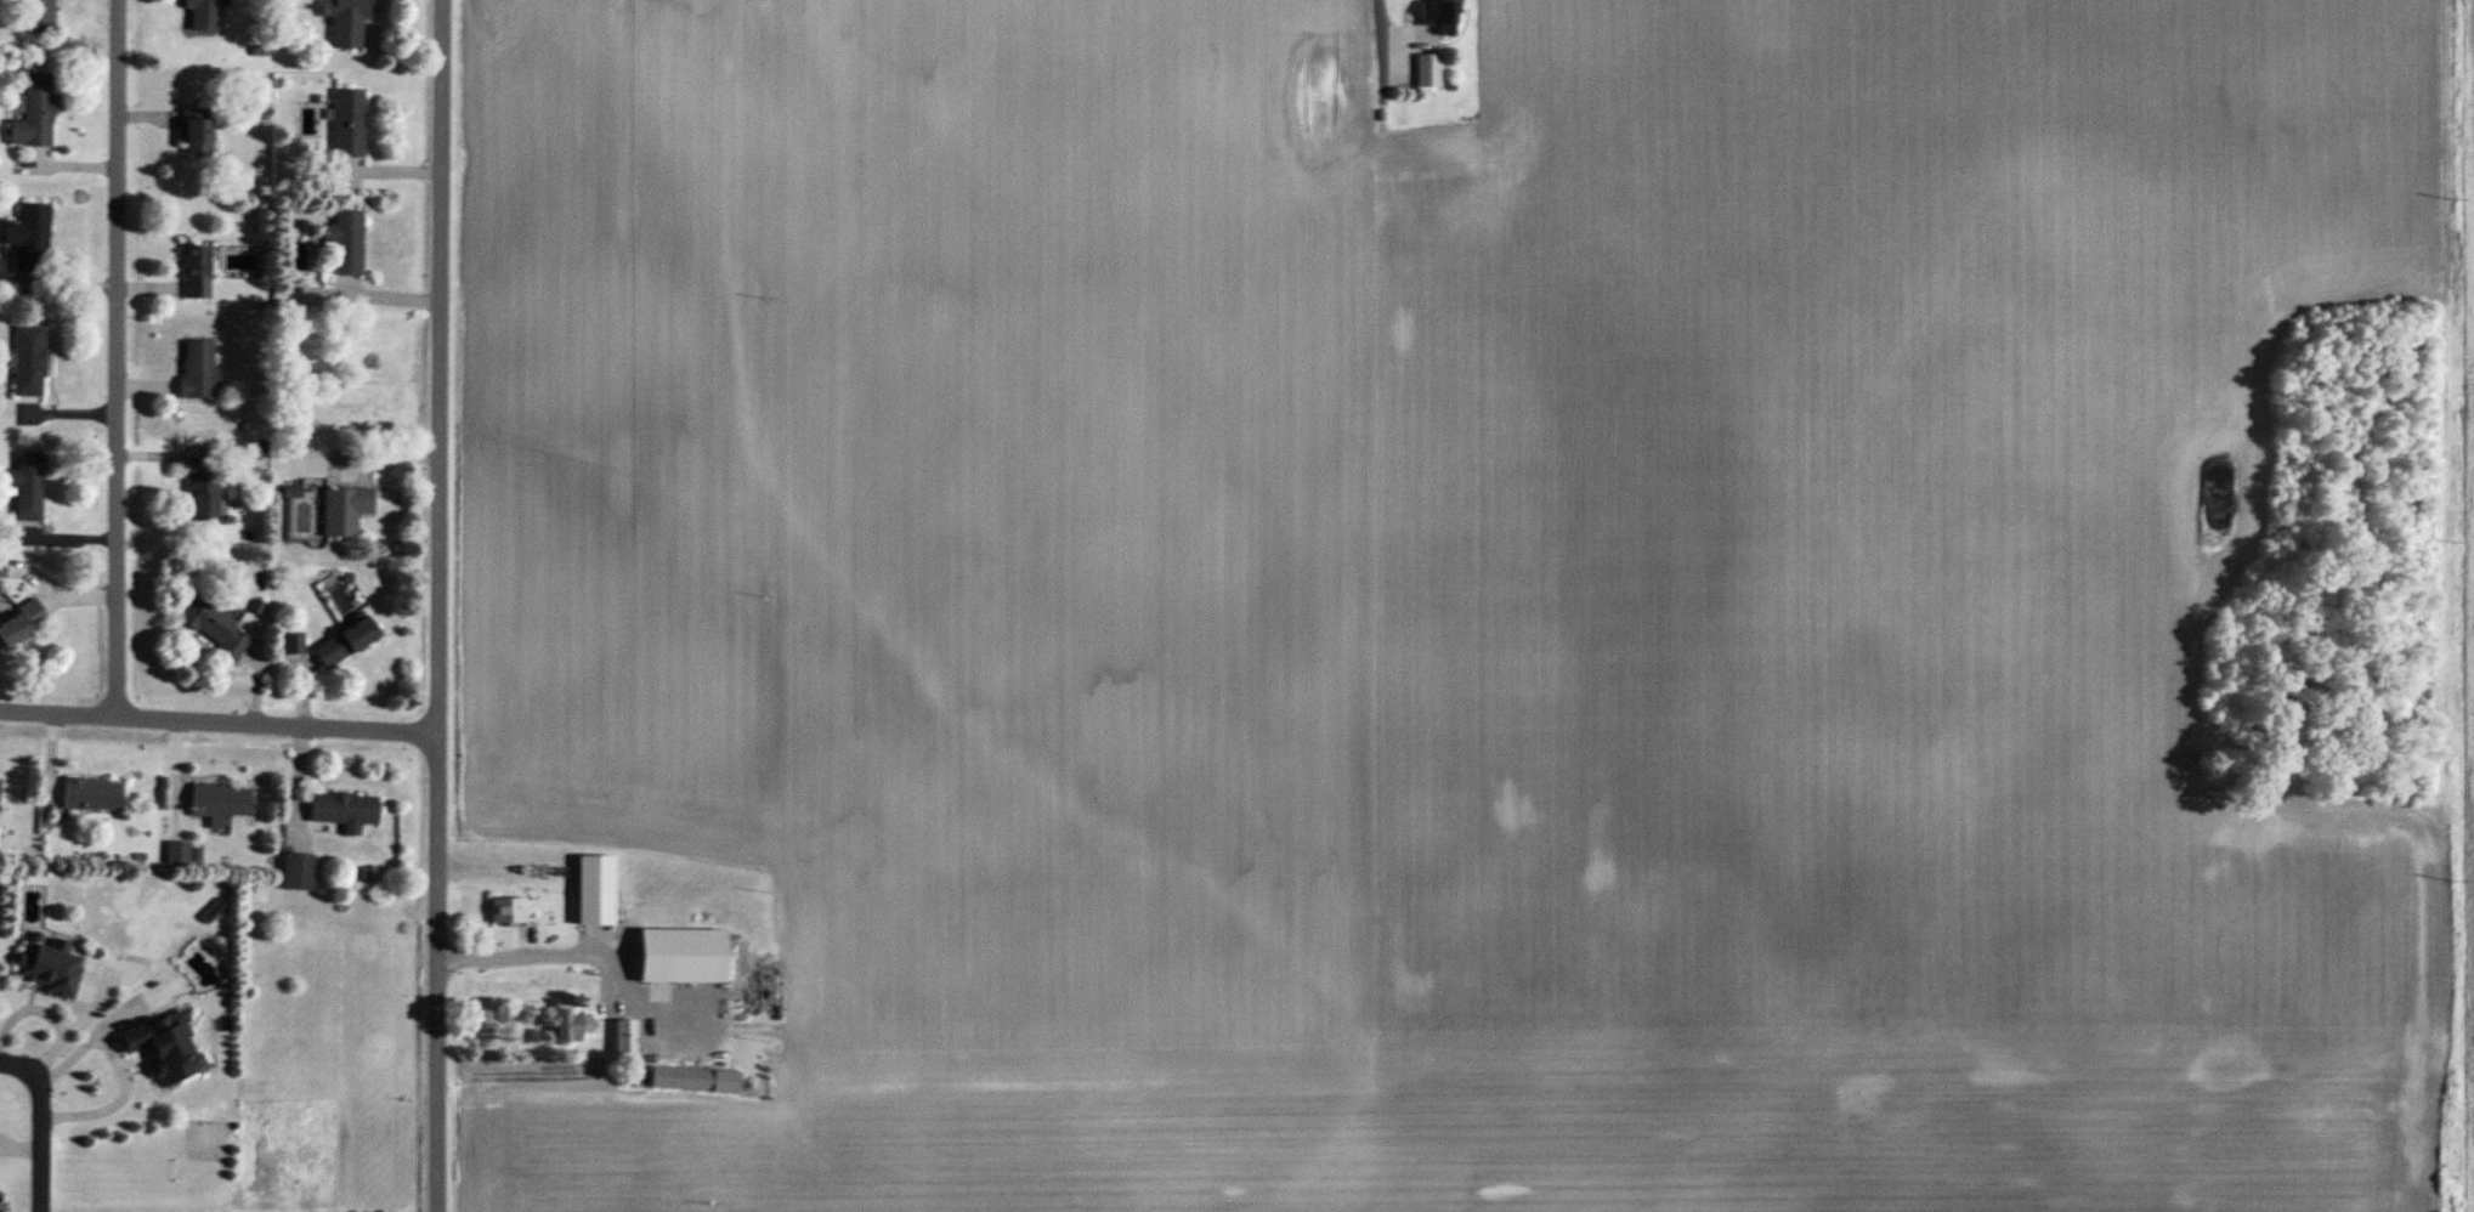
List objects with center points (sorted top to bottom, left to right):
building: (203, 15)
building: (38, 16)
building: (1439, 16)
building: (346, 21)
road: (1370, 34)
building: (1428, 72)
building: (34, 113)
building: (349, 123)
building: (196, 130)
building: (1461, 189)
building: (30, 238)
building: (347, 242)
building: (196, 272)
road: (119, 358)
building: (30, 362)
building: (198, 369)
building: (27, 487)
building: (202, 498)
building: (345, 510)
road: (440, 605)
building: (22, 627)
building: (214, 627)
building: (291, 644)
building: (346, 644)
road: (220, 723)
building: (92, 795)
building: (220, 803)
building: (345, 811)
building: (177, 855)
building: (298, 873)
building: (596, 891)
building: (508, 912)
road: (574, 946)
building: (683, 957)
building: (50, 969)
road: (61, 1024)
building: (572, 1025)
building: (625, 1044)
building: (164, 1048)
road: (96, 1074)
building: (695, 1081)
road: (33, 1127)

